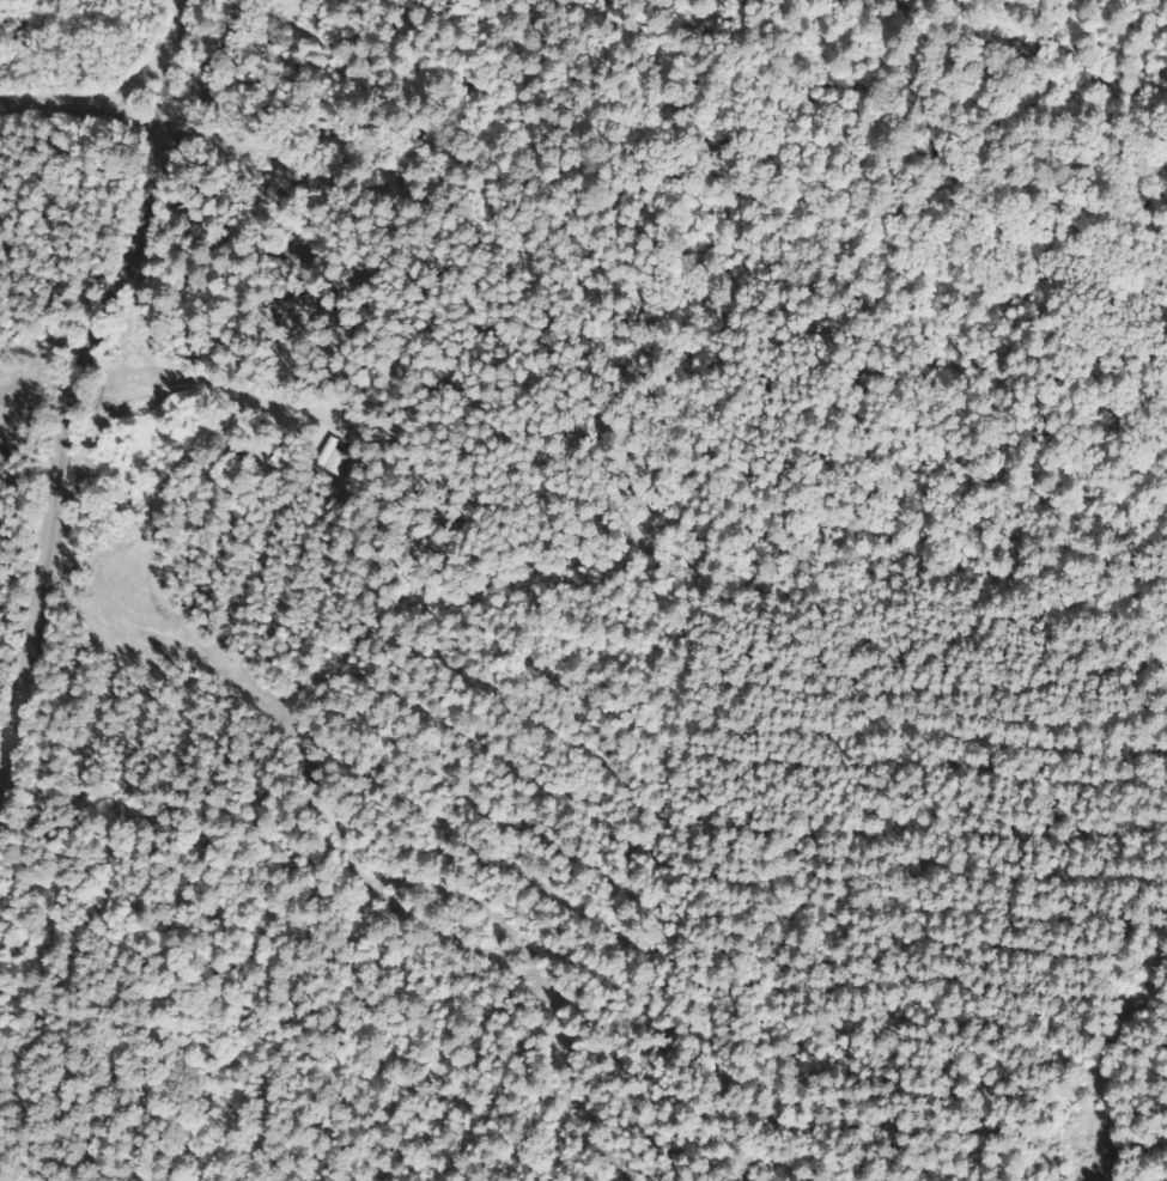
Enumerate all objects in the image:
road: (84, 115)
road: (92, 313)

